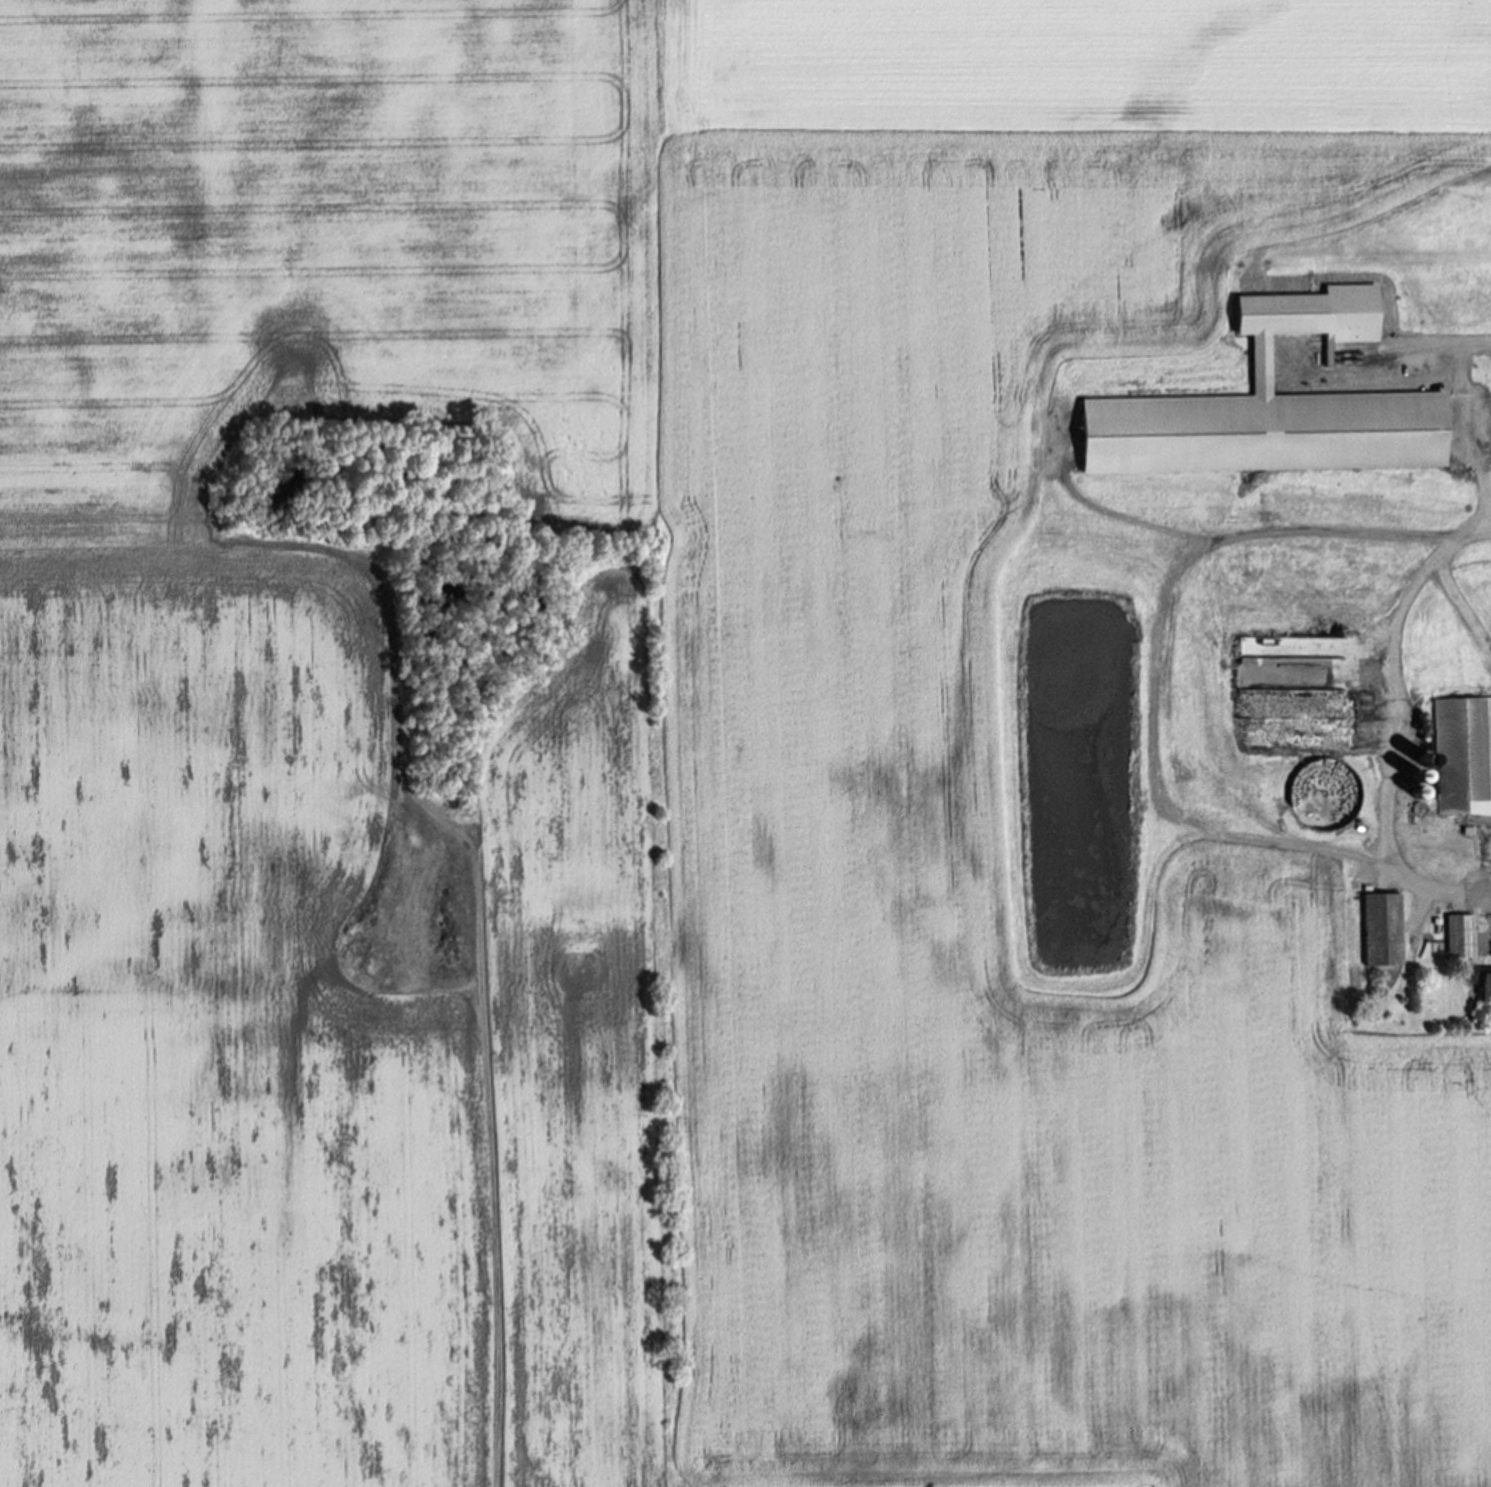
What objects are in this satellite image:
road: (1442, 347)
building: (1283, 406)
road: (1472, 433)
road: (1447, 583)
road: (1156, 665)
building: (1465, 756)
road: (1400, 865)
road: (1460, 889)
building: (1384, 931)
building: (1462, 938)
building: (1483, 983)

